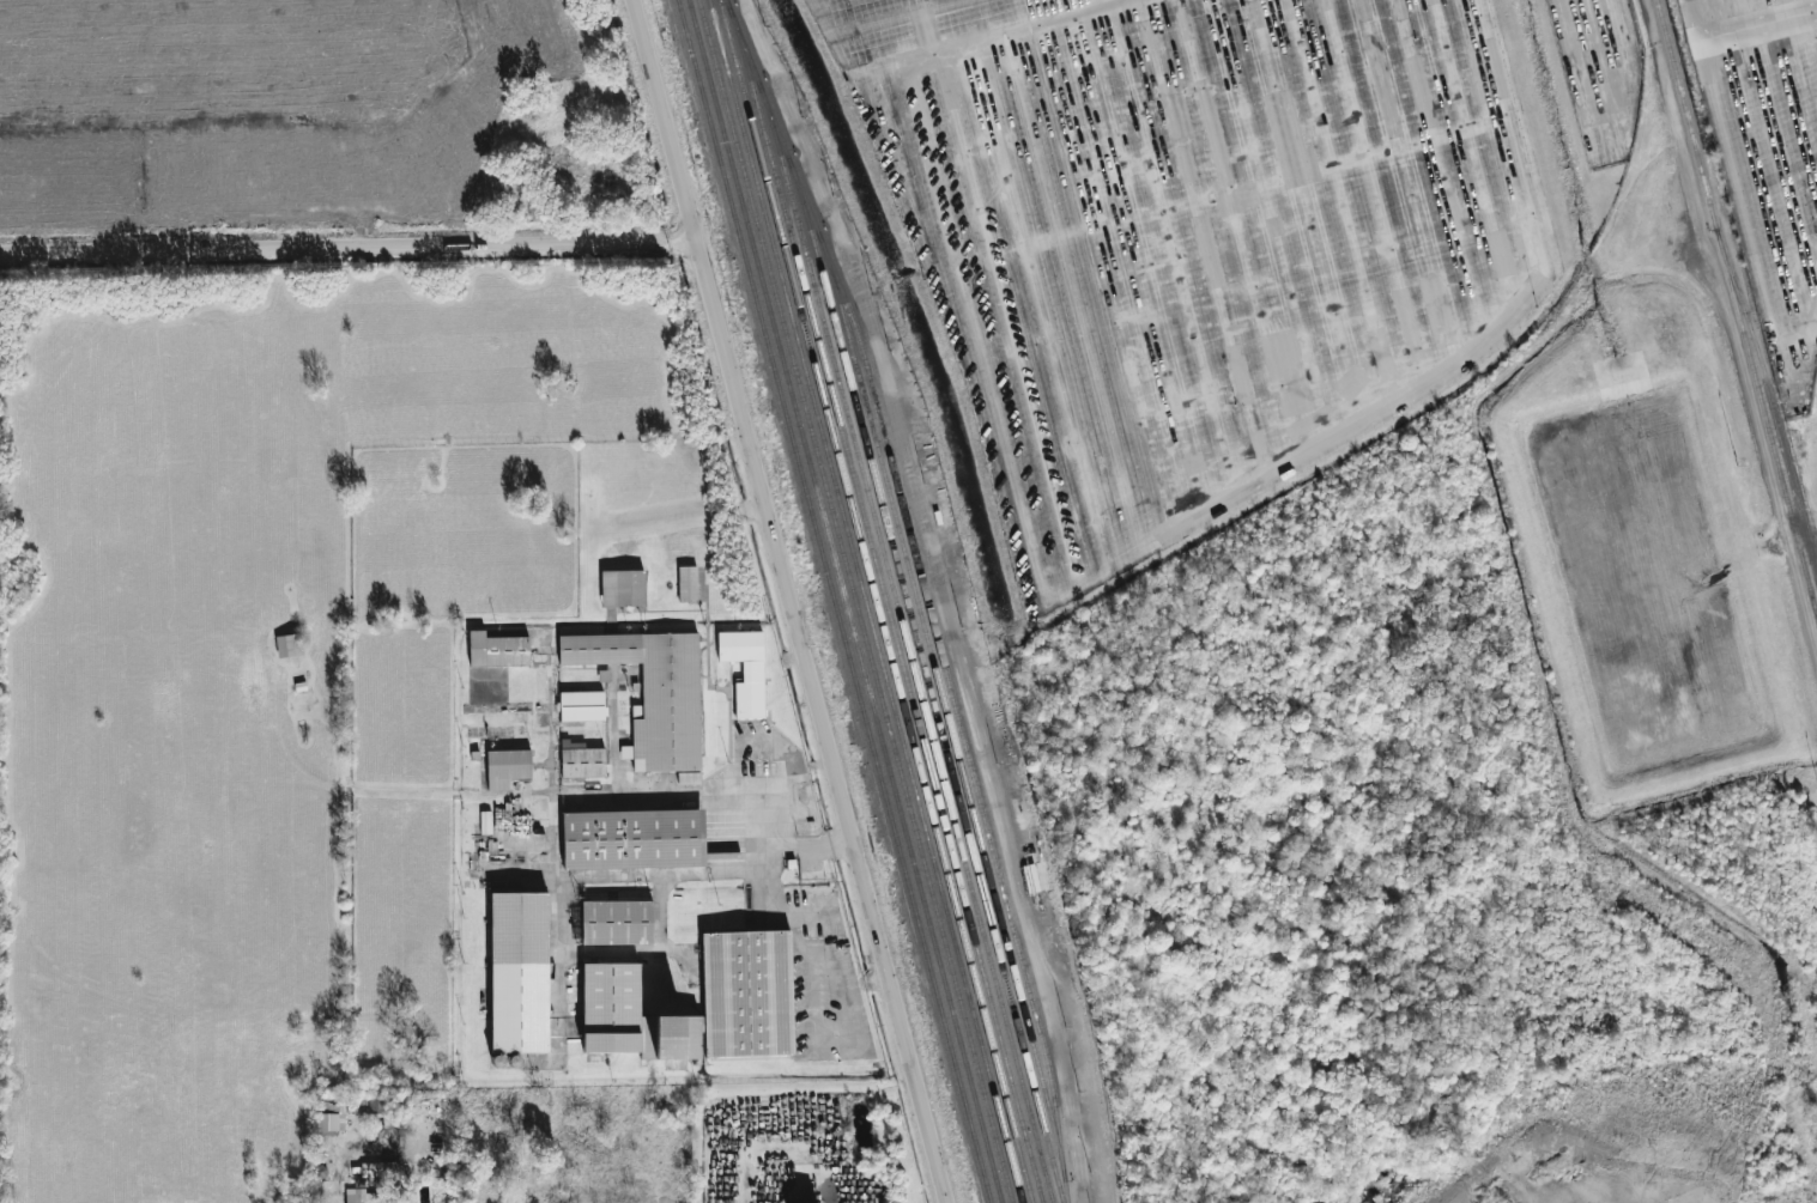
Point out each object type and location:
road: (1799, 8)
road: (1691, 23)
road: (999, 40)
road: (830, 41)
road: (1586, 138)
road: (1727, 163)
road: (349, 243)
railway: (1737, 305)
road: (1732, 328)
road: (1811, 367)
road: (1185, 529)
building: (688, 584)
building: (622, 588)
railway: (927, 593)
road: (956, 593)
railway: (847, 600)
road: (792, 601)
railway: (835, 601)
railway: (856, 601)
railway: (864, 601)
railway: (877, 601)
railway: (890, 610)
building: (289, 645)
railway: (907, 646)
building: (497, 650)
building: (745, 670)
railway: (928, 683)
building: (653, 695)
building: (582, 706)
railway: (945, 711)
building: (581, 760)
building: (507, 767)
road: (768, 828)
building: (632, 839)
building: (617, 923)
building: (519, 973)
building: (747, 995)
building: (630, 1020)
building: (327, 1122)
building: (378, 1169)
building: (362, 1196)

